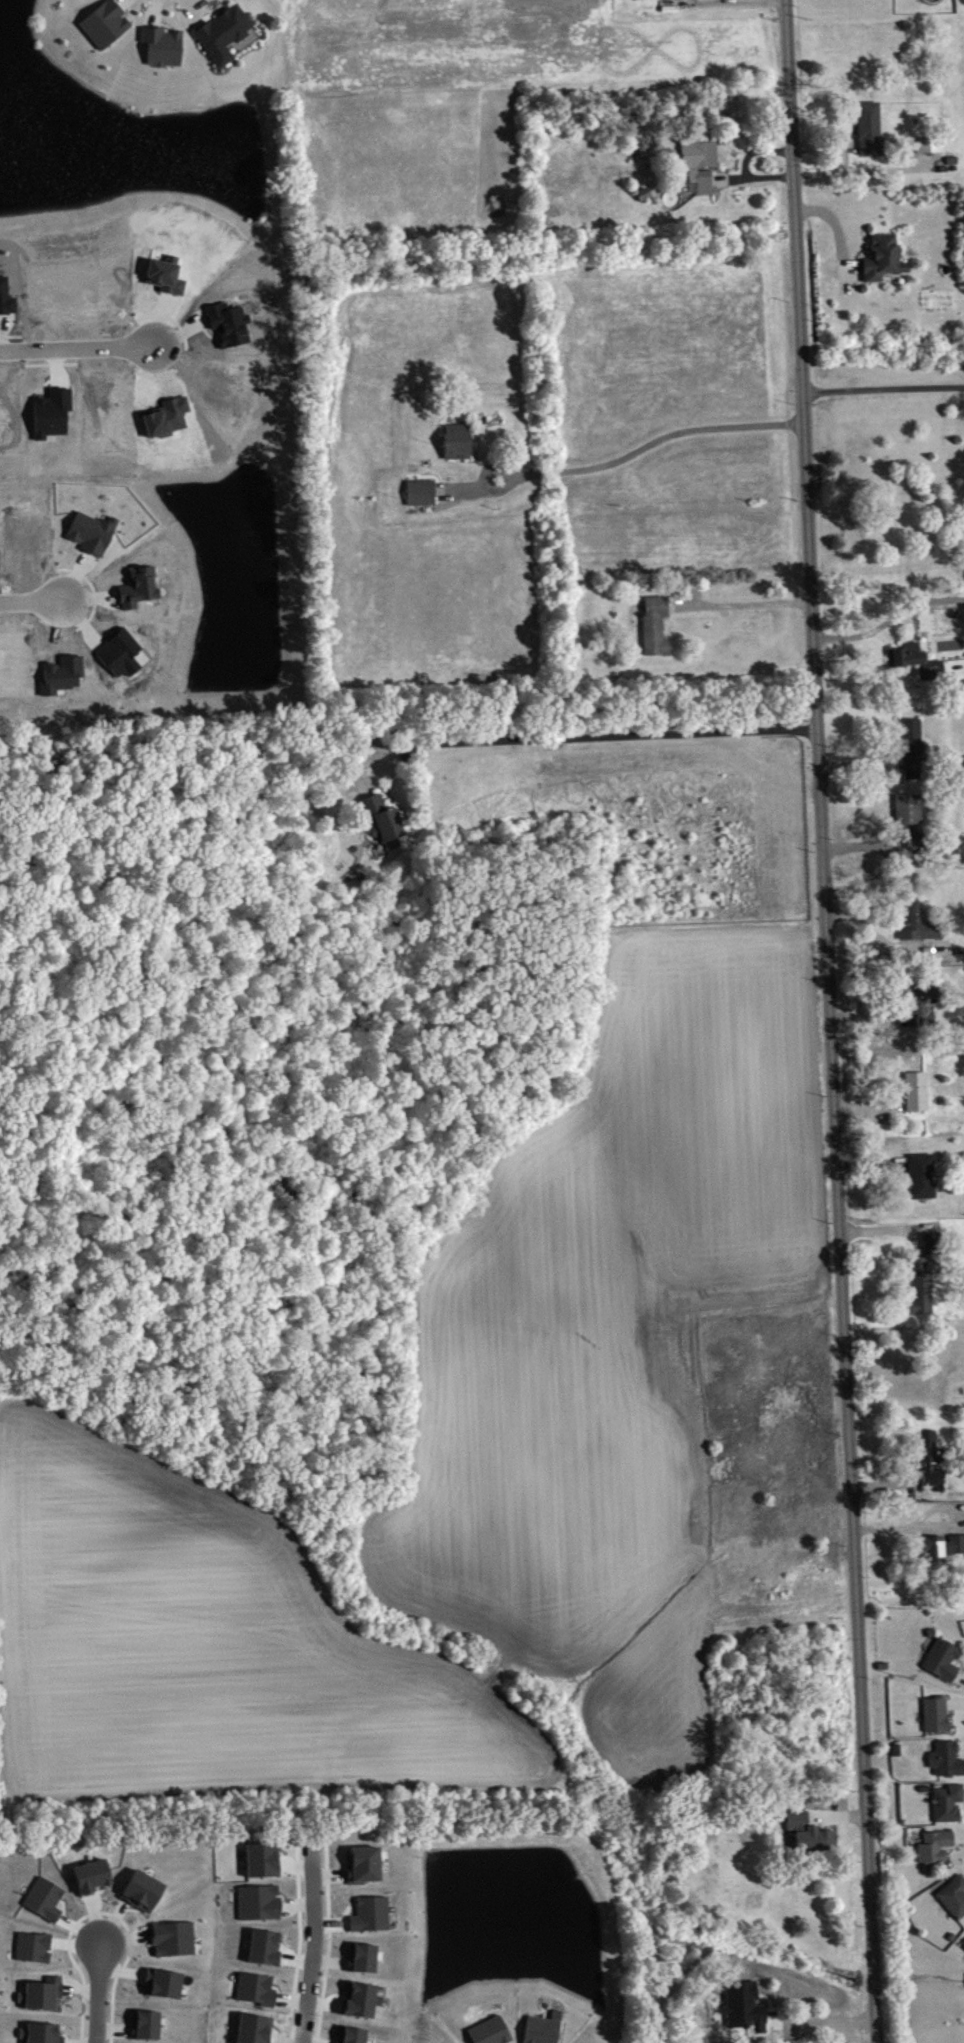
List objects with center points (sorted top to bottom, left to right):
road: (726, 0)
road: (118, 2)
road: (161, 2)
road: (124, 8)
road: (205, 10)
road: (155, 12)
road: (189, 12)
building: (103, 22)
road: (164, 23)
building: (222, 31)
building: (161, 44)
building: (867, 126)
building: (929, 143)
road: (824, 144)
road: (755, 150)
road: (843, 156)
building: (697, 161)
road: (857, 169)
road: (751, 176)
building: (642, 192)
road: (838, 234)
building: (881, 256)
road: (851, 268)
road: (169, 315)
road: (10, 333)
road: (76, 347)
road: (51, 361)
road: (155, 374)
road: (883, 387)
building: (455, 440)
road: (615, 460)
road: (460, 487)
building: (419, 489)
road: (92, 588)
road: (31, 600)
road: (739, 603)
road: (889, 618)
building: (653, 624)
building: (914, 658)
road: (953, 663)
road: (575, 735)
building: (910, 744)
road: (857, 765)
road: (363, 788)
building: (907, 809)
building: (380, 818)
road: (857, 844)
building: (913, 919)
road: (881, 938)
building: (919, 999)
road: (829, 1021)
road: (869, 1022)
building: (914, 1089)
road: (867, 1106)
road: (868, 1161)
building: (920, 1174)
road: (883, 1228)
building: (929, 1240)
building: (919, 1285)
crop: (611, 1335)
building: (927, 1456)
road: (883, 1483)
road: (937, 1527)
building: (940, 1544)
crop: (210, 1646)
building: (944, 1662)
building: (938, 1717)
building: (948, 1761)
building: (950, 1805)
road: (836, 1815)
building: (807, 1830)
building: (936, 1850)
building: (265, 1862)
building: (366, 1867)
building: (94, 1878)
building: (145, 1893)
building: (955, 1899)
building: (47, 1902)
building: (373, 1917)
building: (176, 1941)
building: (364, 1960)
road: (313, 1970)
building: (258, 1991)
road: (98, 1992)
building: (45, 1997)
road: (821, 2018)
building: (546, 2030)
building: (492, 2033)
building: (43, 2035)

